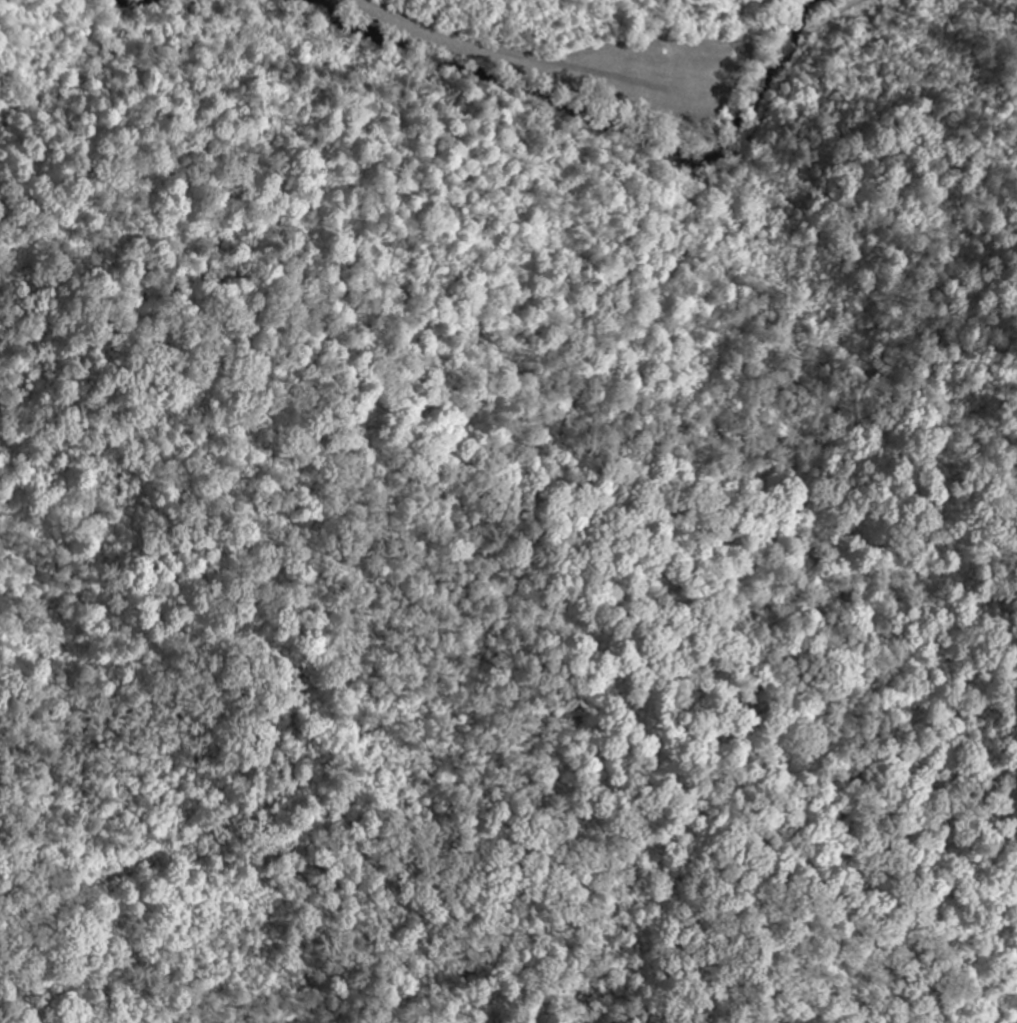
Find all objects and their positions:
road: (312, 905)

